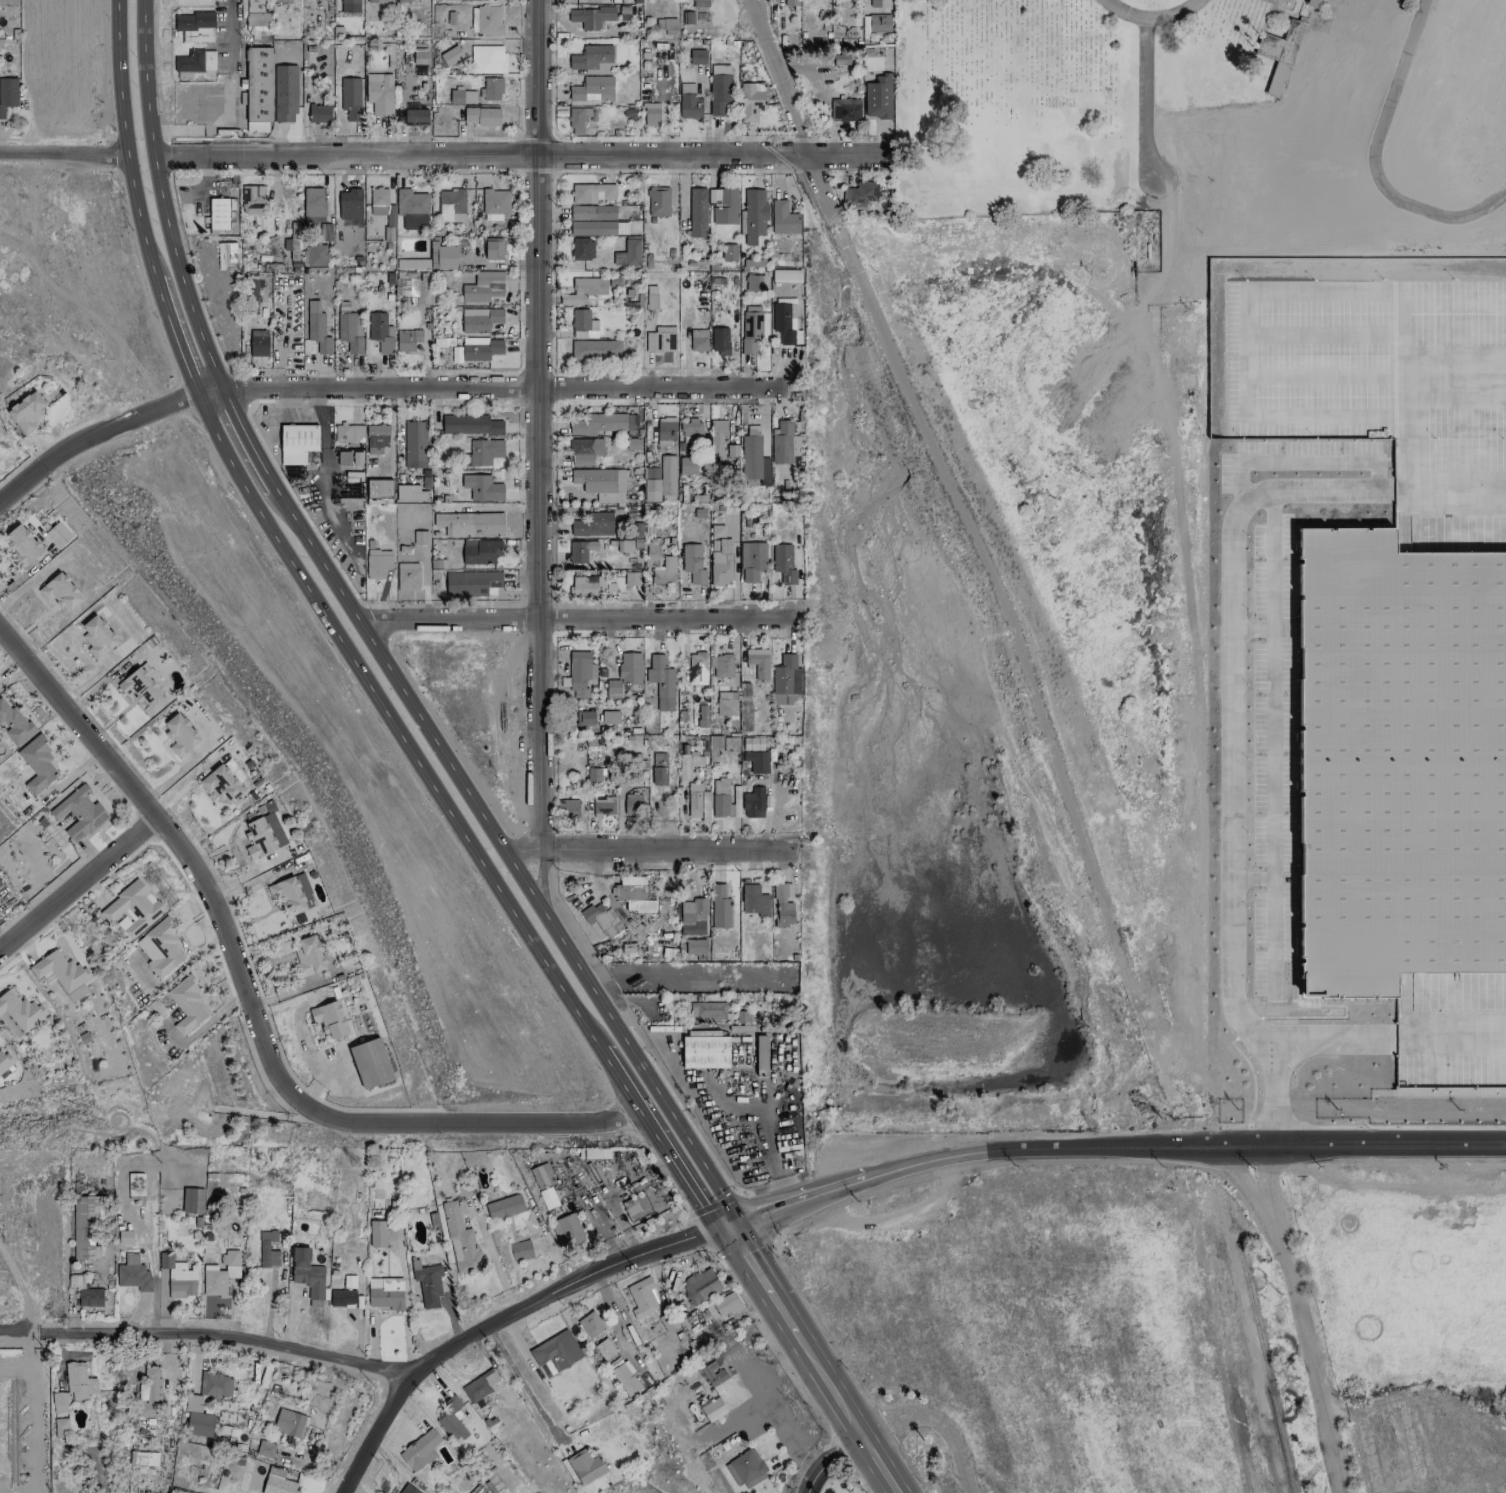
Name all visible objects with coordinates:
building: (462, 0)
building: (280, 1)
building: (375, 1)
building: (402, 1)
building: (632, 1)
building: (8, 2)
building: (790, 2)
building: (699, 3)
building: (879, 3)
building: (1314, 3)
building: (349, 6)
building: (256, 13)
building: (590, 16)
road: (1150, 16)
building: (485, 19)
building: (193, 20)
building: (878, 23)
building: (666, 25)
building: (200, 36)
building: (450, 55)
building: (419, 56)
building: (697, 56)
building: (487, 59)
building: (593, 59)
building: (195, 61)
building: (841, 62)
building: (258, 89)
building: (492, 89)
building: (592, 89)
building: (719, 89)
building: (7, 94)
building: (379, 94)
building: (456, 96)
road: (228, 97)
building: (350, 97)
building: (877, 97)
building: (751, 100)
building: (689, 102)
building: (199, 106)
building: (844, 109)
building: (318, 113)
building: (650, 114)
building: (415, 115)
building: (482, 116)
building: (577, 119)
park: (1211, 121)
road: (124, 135)
road: (443, 155)
road: (1373, 160)
building: (592, 193)
building: (859, 195)
road: (161, 196)
building: (378, 196)
building: (251, 199)
building: (349, 199)
building: (658, 201)
building: (410, 203)
building: (313, 204)
building: (494, 204)
building: (451, 205)
building: (725, 207)
building: (697, 212)
building: (218, 213)
building: (390, 215)
building: (752, 215)
building: (783, 218)
building: (595, 221)
building: (292, 243)
building: (493, 248)
building: (582, 249)
building: (628, 252)
building: (728, 252)
building: (226, 255)
building: (316, 255)
building: (442, 256)
building: (412, 263)
building: (756, 282)
building: (483, 286)
building: (422, 288)
building: (584, 290)
building: (651, 301)
building: (479, 319)
building: (785, 321)
building: (583, 324)
building: (317, 328)
building: (349, 328)
building: (750, 328)
road: (173, 332)
building: (380, 332)
building: (407, 339)
building: (660, 339)
building: (698, 340)
building: (719, 340)
building: (258, 343)
building: (476, 349)
building: (595, 350)
road: (509, 391)
building: (26, 411)
building: (597, 423)
building: (470, 424)
road: (536, 424)
building: (665, 430)
road: (103, 432)
building: (691, 432)
building: (348, 433)
building: (716, 437)
road: (244, 438)
building: (376, 438)
building: (297, 443)
building: (783, 443)
building: (414, 444)
building: (584, 450)
building: (484, 451)
building: (753, 461)
building: (687, 466)
building: (660, 481)
building: (601, 483)
building: (482, 487)
building: (379, 491)
building: (410, 493)
building: (470, 523)
building: (593, 524)
building: (717, 530)
building: (58, 534)
building: (420, 537)
building: (22, 545)
building: (624, 545)
building: (480, 551)
building: (580, 551)
building: (752, 560)
building: (377, 563)
building: (692, 563)
building: (783, 563)
building: (721, 564)
building: (663, 569)
road: (986, 569)
building: (407, 576)
building: (630, 578)
building: (478, 582)
building: (587, 585)
building: (60, 591)
road: (576, 619)
building: (97, 636)
building: (758, 662)
building: (697, 663)
building: (721, 665)
building: (629, 668)
building: (580, 673)
building: (785, 679)
building: (660, 682)
building: (140, 686)
building: (612, 687)
building: (725, 704)
road: (384, 710)
building: (607, 716)
building: (702, 716)
building: (584, 718)
road: (75, 721)
building: (13, 722)
building: (180, 733)
building: (752, 743)
building: (1403, 757)
building: (659, 759)
building: (756, 761)
building: (688, 763)
building: (37, 764)
building: (593, 774)
building: (658, 776)
building: (221, 783)
building: (721, 798)
road: (1232, 800)
building: (697, 802)
building: (753, 803)
building: (603, 805)
building: (632, 805)
building: (736, 805)
building: (568, 808)
building: (79, 812)
building: (263, 835)
road: (649, 850)
road: (505, 853)
road: (77, 882)
building: (0, 887)
building: (631, 890)
building: (287, 894)
building: (753, 901)
building: (782, 904)
building: (132, 907)
building: (720, 907)
building: (692, 917)
building: (601, 918)
building: (695, 946)
building: (160, 947)
building: (308, 956)
building: (59, 971)
building: (186, 1004)
building: (20, 1010)
building: (707, 1010)
building: (742, 1016)
building: (329, 1019)
road: (1342, 1046)
building: (704, 1051)
building: (761, 1055)
building: (3, 1062)
building: (370, 1063)
road: (307, 1108)
road: (649, 1124)
road: (1109, 1148)
building: (542, 1175)
building: (134, 1183)
building: (548, 1197)
building: (192, 1200)
building: (504, 1207)
building: (636, 1207)
traffic signals: (723, 1223)
building: (86, 1225)
building: (566, 1231)
building: (376, 1233)
building: (460, 1241)
building: (267, 1249)
building: (520, 1250)
road: (491, 1256)
building: (133, 1273)
building: (178, 1274)
building: (220, 1274)
building: (307, 1275)
building: (428, 1285)
building: (699, 1285)
road: (764, 1286)
building: (385, 1292)
building: (91, 1297)
building: (641, 1297)
building: (341, 1298)
building: (725, 1304)
road: (1299, 1319)
road: (501, 1321)
building: (590, 1324)
road: (207, 1335)
building: (604, 1349)
railway: (1262, 1351)
building: (555, 1353)
building: (712, 1373)
building: (625, 1378)
building: (79, 1381)
building: (151, 1385)
building: (215, 1385)
road: (523, 1385)
building: (480, 1386)
road: (833, 1395)
building: (59, 1402)
building: (712, 1408)
road: (764, 1408)
building: (197, 1417)
building: (451, 1418)
road: (940, 1418)
building: (288, 1422)
building: (61, 1427)
building: (265, 1449)
building: (420, 1449)
building: (143, 1458)
road: (828, 1460)
building: (585, 1466)
road: (877, 1466)
building: (745, 1468)
building: (276, 1482)
building: (408, 1489)
building: (183, 1492)

